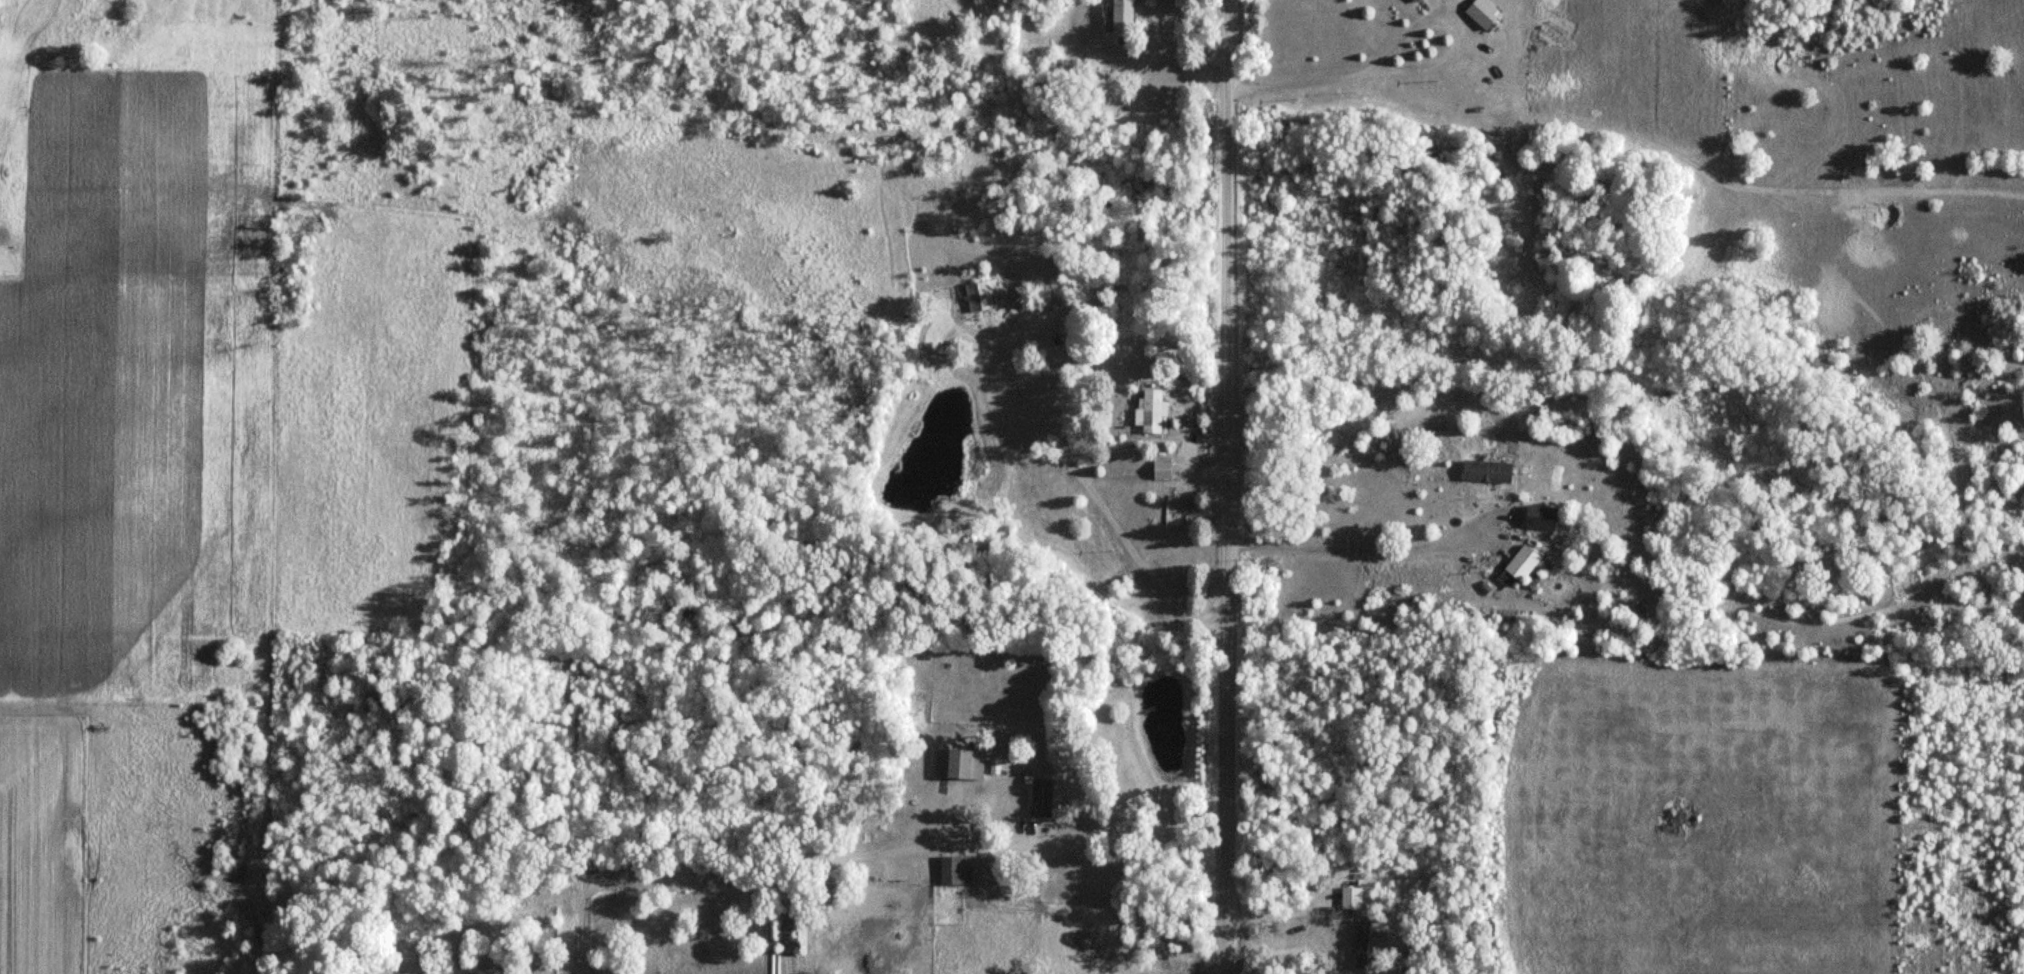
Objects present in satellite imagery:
building: (1414, 0)
building: (1481, 13)
building: (1121, 18)
road: (1411, 67)
building: (980, 295)
building: (1149, 412)
building: (1160, 469)
building: (1485, 471)
road: (1218, 487)
building: (1539, 517)
building: (1040, 797)
road: (955, 849)
building: (954, 870)
building: (1350, 897)

